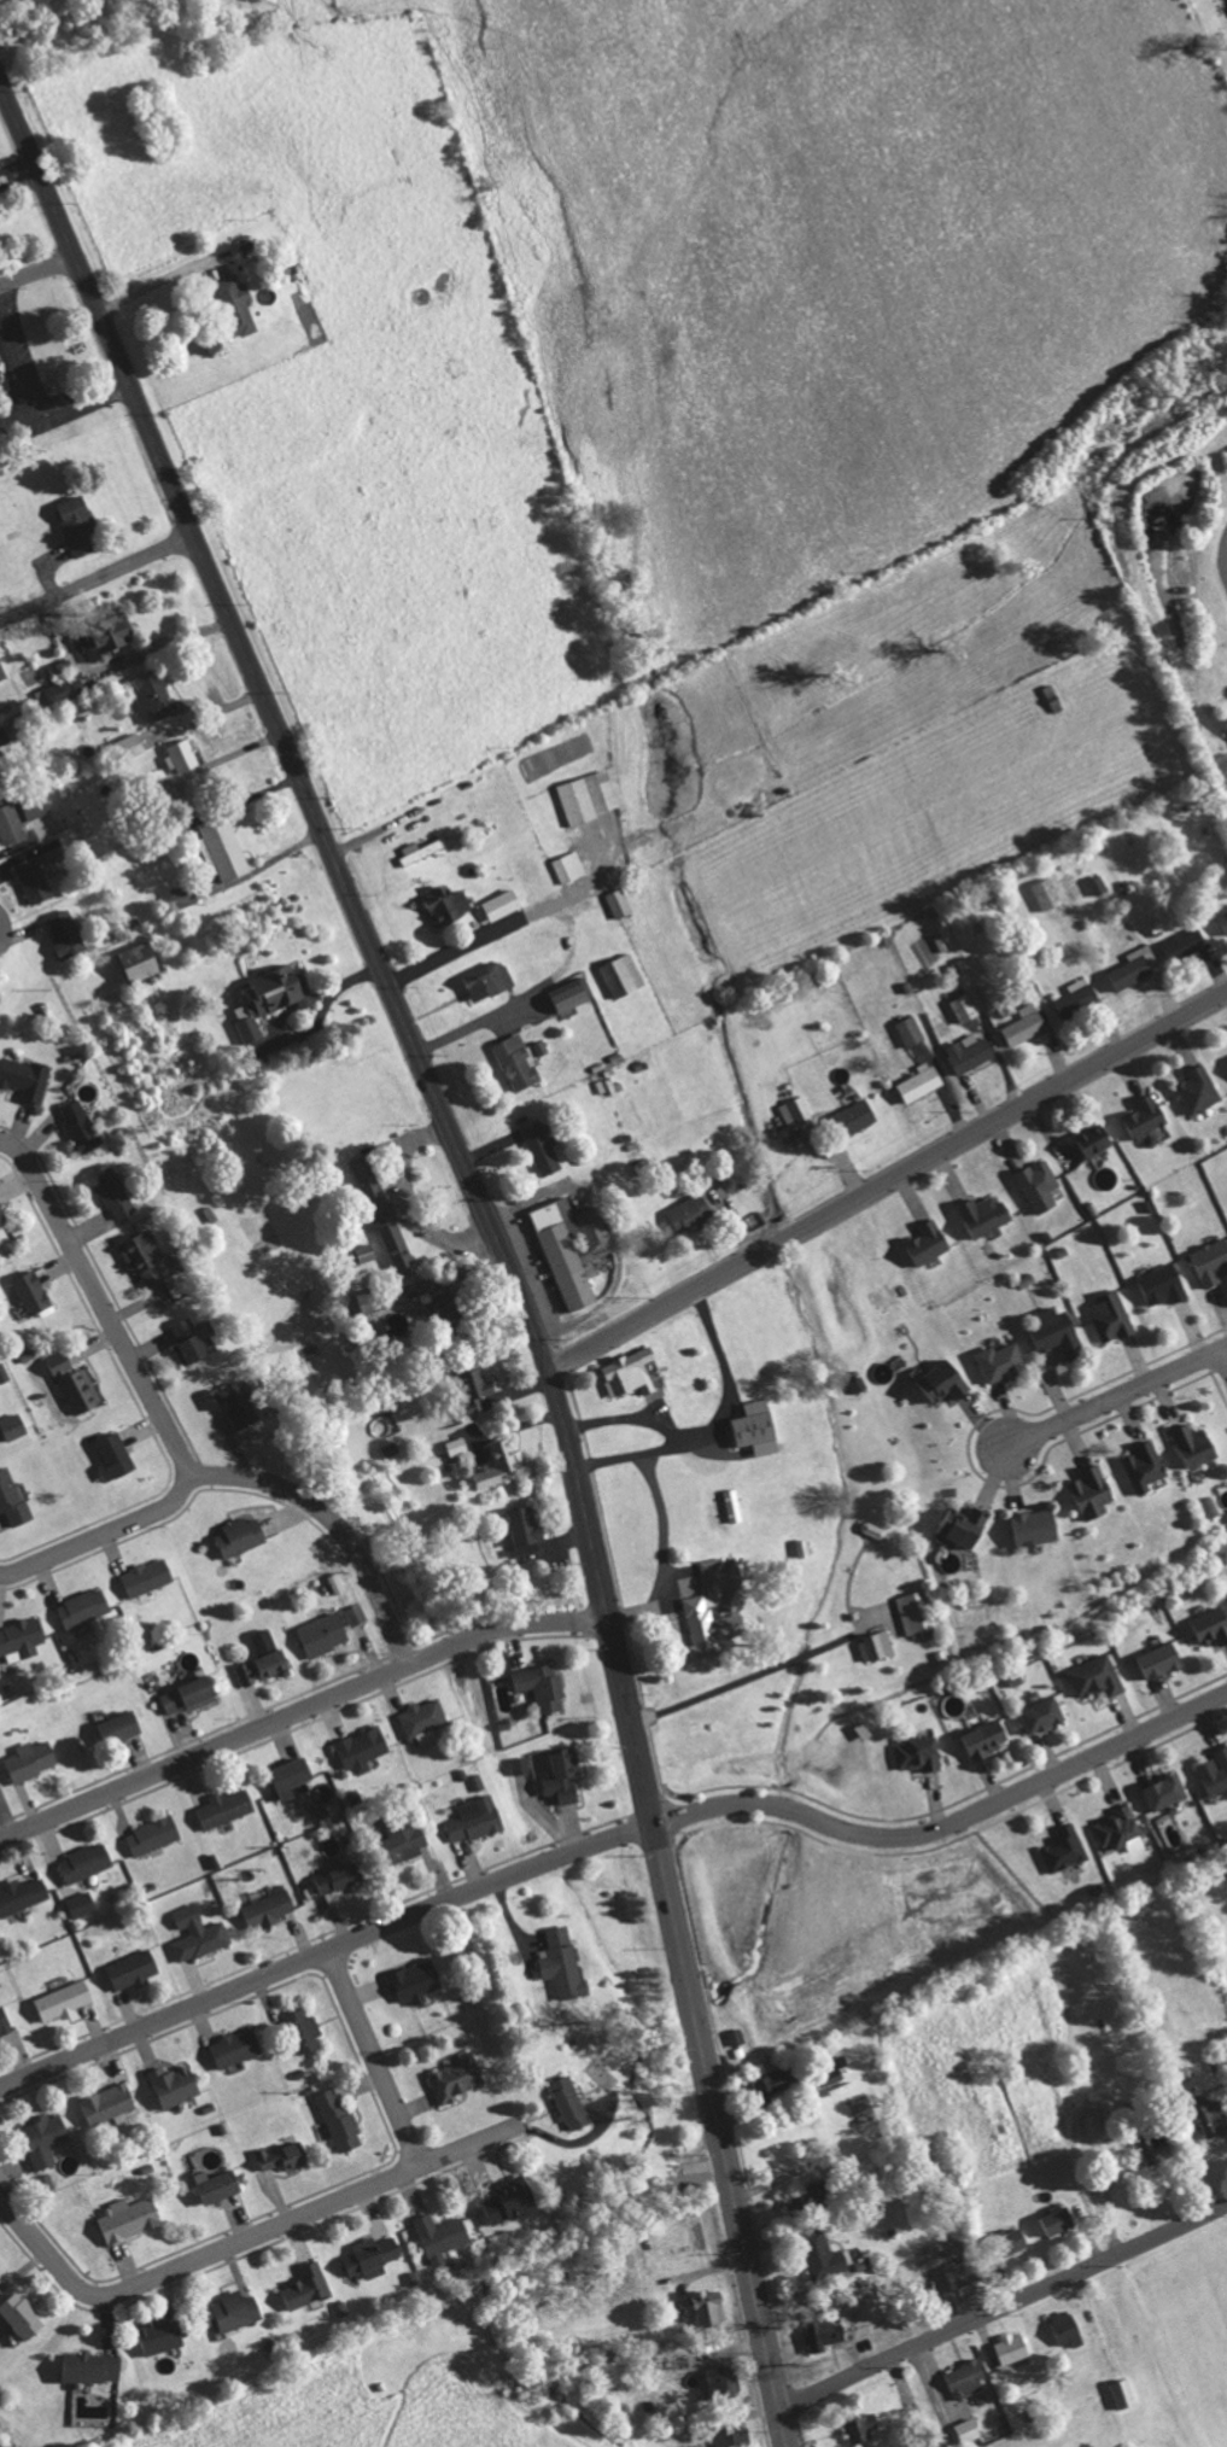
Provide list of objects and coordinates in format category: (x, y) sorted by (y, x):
road: (37, 271)
building: (240, 305)
road: (12, 352)
building: (0, 385)
road: (64, 409)
building: (80, 525)
road: (97, 579)
building: (111, 640)
building: (2, 672)
building: (62, 689)
building: (153, 695)
building: (1226, 729)
building: (4, 736)
building: (185, 757)
building: (2, 773)
building: (590, 796)
building: (12, 825)
building: (227, 848)
building: (55, 851)
building: (422, 851)
building: (569, 868)
building: (36, 881)
building: (1098, 883)
building: (1047, 893)
building: (186, 895)
building: (504, 904)
building: (620, 904)
building: (450, 905)
building: (1223, 919)
building: (68, 934)
building: (1184, 942)
building: (142, 962)
building: (1133, 966)
building: (624, 975)
building: (490, 980)
building: (572, 993)
building: (274, 997)
building: (1079, 997)
building: (966, 1006)
building: (1027, 1023)
building: (911, 1029)
building: (971, 1053)
building: (520, 1059)
building: (27, 1076)
building: (922, 1080)
building: (1200, 1088)
building: (796, 1111)
building: (858, 1115)
building: (1147, 1115)
building: (82, 1126)
building: (1097, 1139)
building: (543, 1146)
road: (887, 1184)
building: (1041, 1185)
building: (113, 1190)
building: (693, 1213)
building: (4, 1214)
building: (986, 1214)
building: (386, 1216)
building: (596, 1227)
road: (489, 1236)
building: (930, 1242)
building: (566, 1252)
building: (145, 1255)
building: (1211, 1262)
building: (1163, 1284)
building: (34, 1291)
building: (372, 1300)
building: (450, 1307)
building: (1112, 1315)
building: (1059, 1331)
building: (1003, 1361)
building: (630, 1372)
building: (946, 1382)
building: (76, 1383)
building: (481, 1389)
road: (148, 1391)
building: (236, 1402)
road: (1112, 1402)
building: (16, 1425)
building: (758, 1427)
building: (1197, 1444)
building: (457, 1446)
building: (117, 1455)
building: (496, 1466)
building: (1145, 1466)
building: (1093, 1491)
building: (12, 1497)
road: (335, 1522)
building: (968, 1524)
building: (1035, 1526)
building: (244, 1535)
road: (8, 1572)
building: (724, 1572)
building: (147, 1576)
building: (84, 1607)
building: (918, 1611)
building: (711, 1625)
building: (1210, 1625)
building: (325, 1633)
building: (22, 1639)
building: (877, 1646)
building: (265, 1658)
building: (1098, 1676)
building: (543, 1686)
building: (191, 1693)
road: (298, 1710)
building: (1045, 1713)
building: (425, 1721)
building: (122, 1725)
building: (987, 1738)
building: (363, 1748)
building: (919, 1753)
building: (33, 1759)
building: (521, 1765)
building: (1215, 1771)
building: (565, 1774)
building: (294, 1775)
building: (1168, 1792)
building: (228, 1806)
building: (477, 1818)
road: (950, 1826)
building: (1122, 1828)
building: (154, 1835)
building: (405, 1836)
building: (1065, 1849)
building: (87, 1863)
building: (344, 1875)
building: (23, 1894)
building: (83, 1904)
building: (271, 1908)
building: (198, 1933)
road: (323, 1952)
building: (565, 1963)
building: (135, 1969)
building: (417, 1981)
building: (66, 1999)
building: (5, 2022)
building: (305, 2031)
building: (736, 2037)
building: (238, 2048)
road: (378, 2057)
building: (834, 2073)
building: (458, 2078)
building: (777, 2080)
building: (176, 2084)
building: (572, 2102)
building: (110, 2104)
building: (1214, 2118)
building: (339, 2119)
building: (1093, 2124)
building: (46, 2138)
building: (1158, 2148)
building: (287, 2156)
building: (222, 2186)
building: (808, 2198)
building: (514, 2200)
building: (130, 2218)
building: (1058, 2220)
building: (443, 2233)
building: (1016, 2239)
road: (245, 2243)
building: (372, 2256)
building: (824, 2256)
building: (970, 2270)
building: (306, 2288)
road: (1003, 2308)
building: (238, 2309)
building: (24, 2317)
building: (1068, 2328)
building: (824, 2334)
building: (164, 2335)
building: (1013, 2348)
building: (94, 2367)
building: (966, 2379)
building: (1124, 2394)
building: (861, 2428)
building: (970, 2429)
building: (737, 2436)

